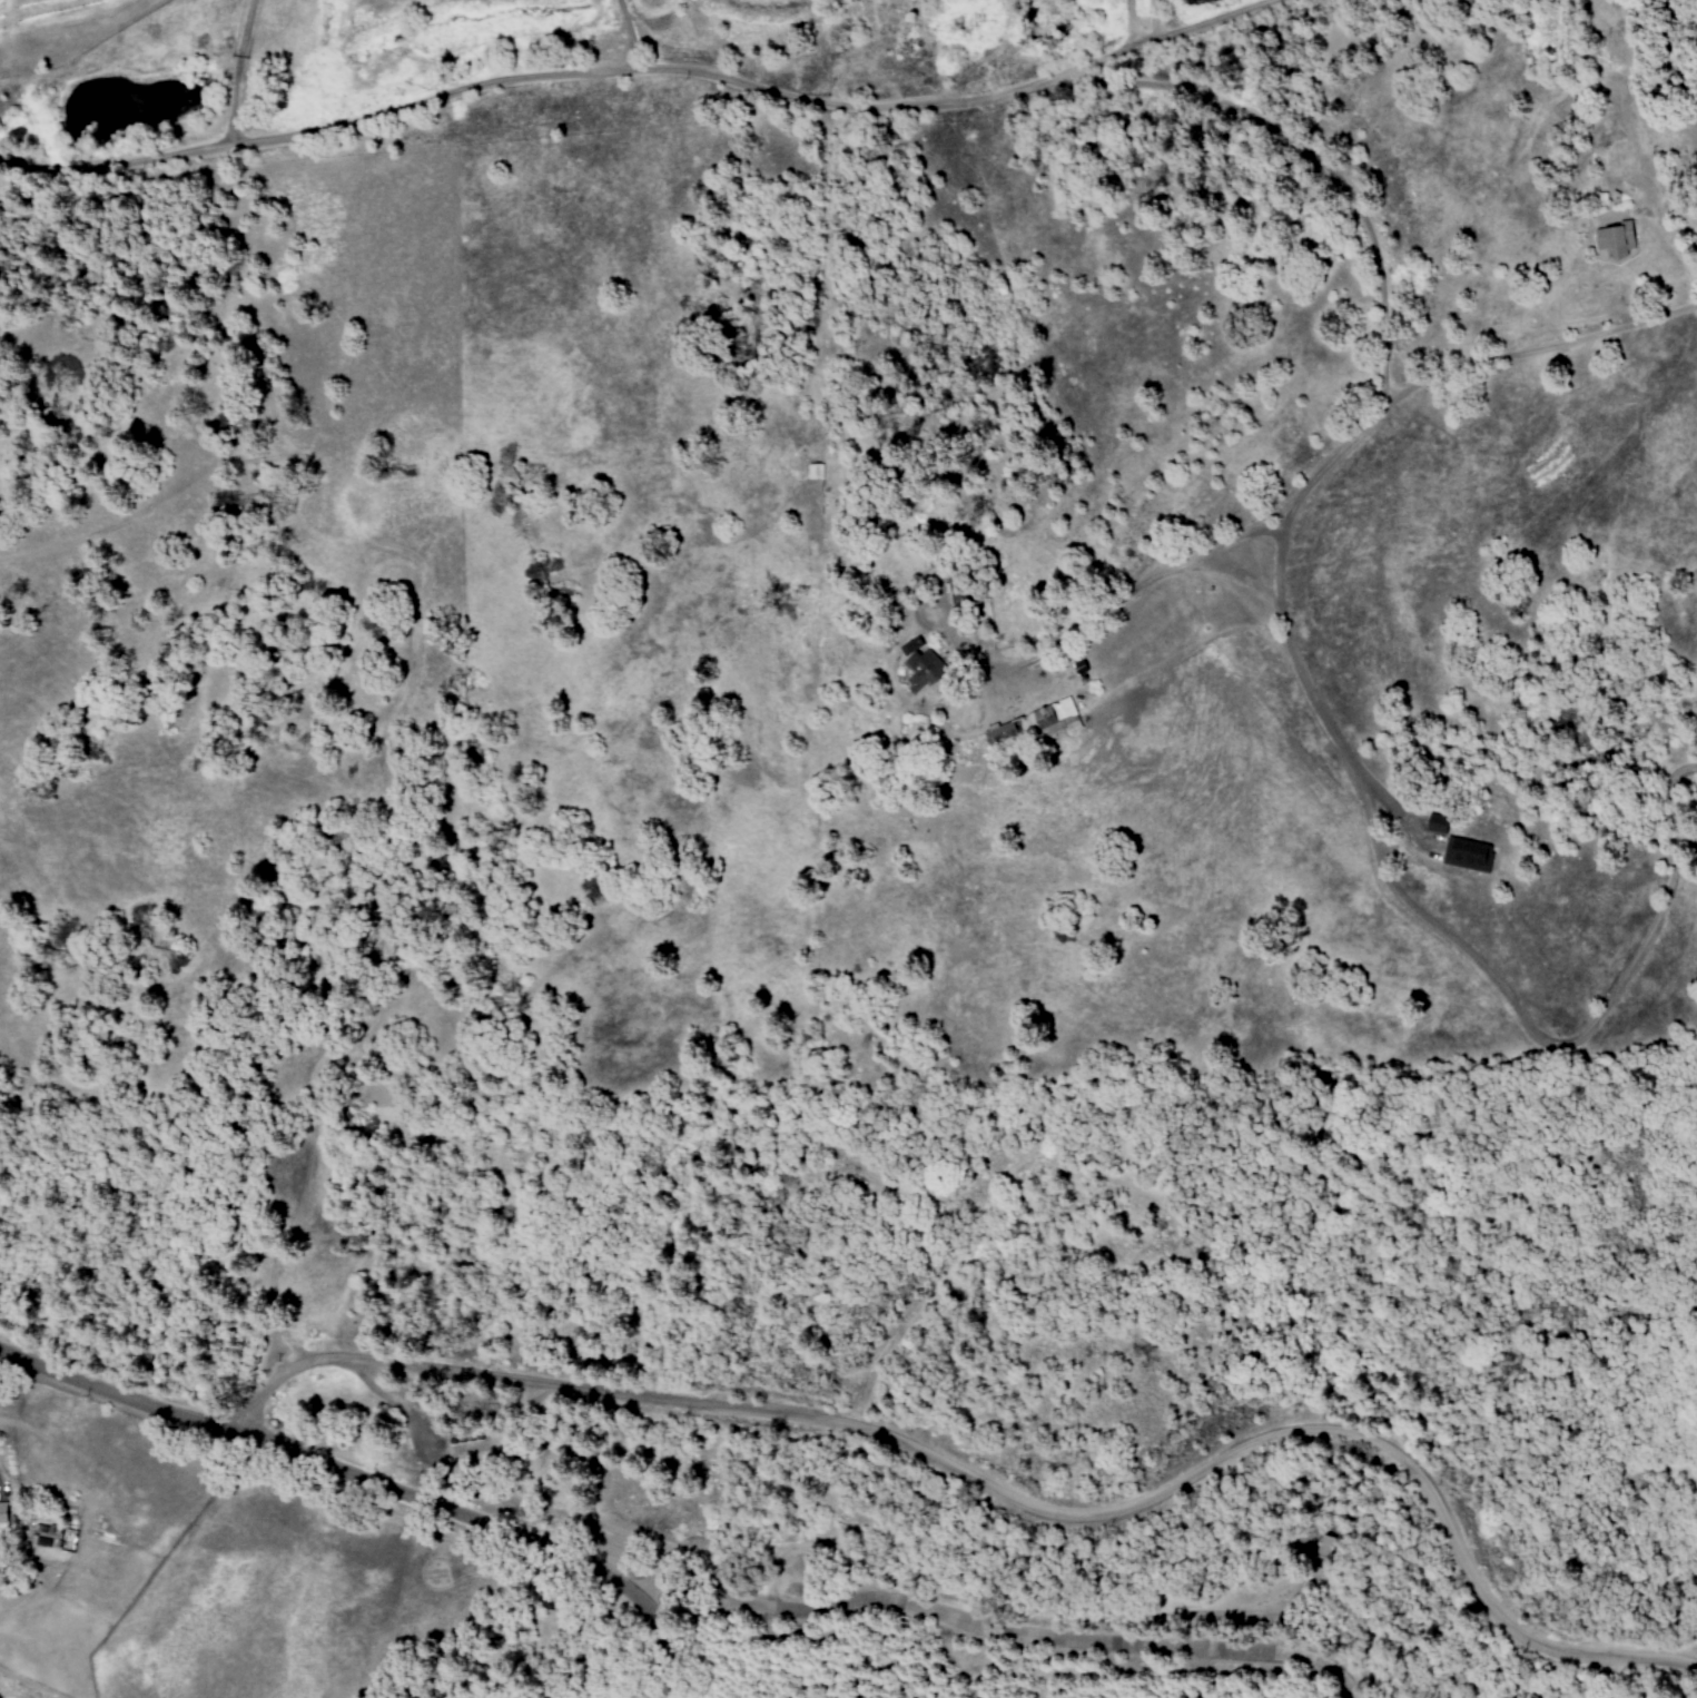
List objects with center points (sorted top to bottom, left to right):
crop: (13, 4)
road: (1126, 26)
road: (634, 36)
road: (642, 72)
road: (233, 75)
building: (1563, 107)
road: (1315, 160)
building: (1612, 244)
building: (813, 471)
building: (917, 663)
building: (1053, 718)
building: (999, 731)
road: (1345, 748)
building: (1435, 823)
building: (1467, 853)
road: (374, 1483)
road: (1003, 1494)
building: (2, 1513)

